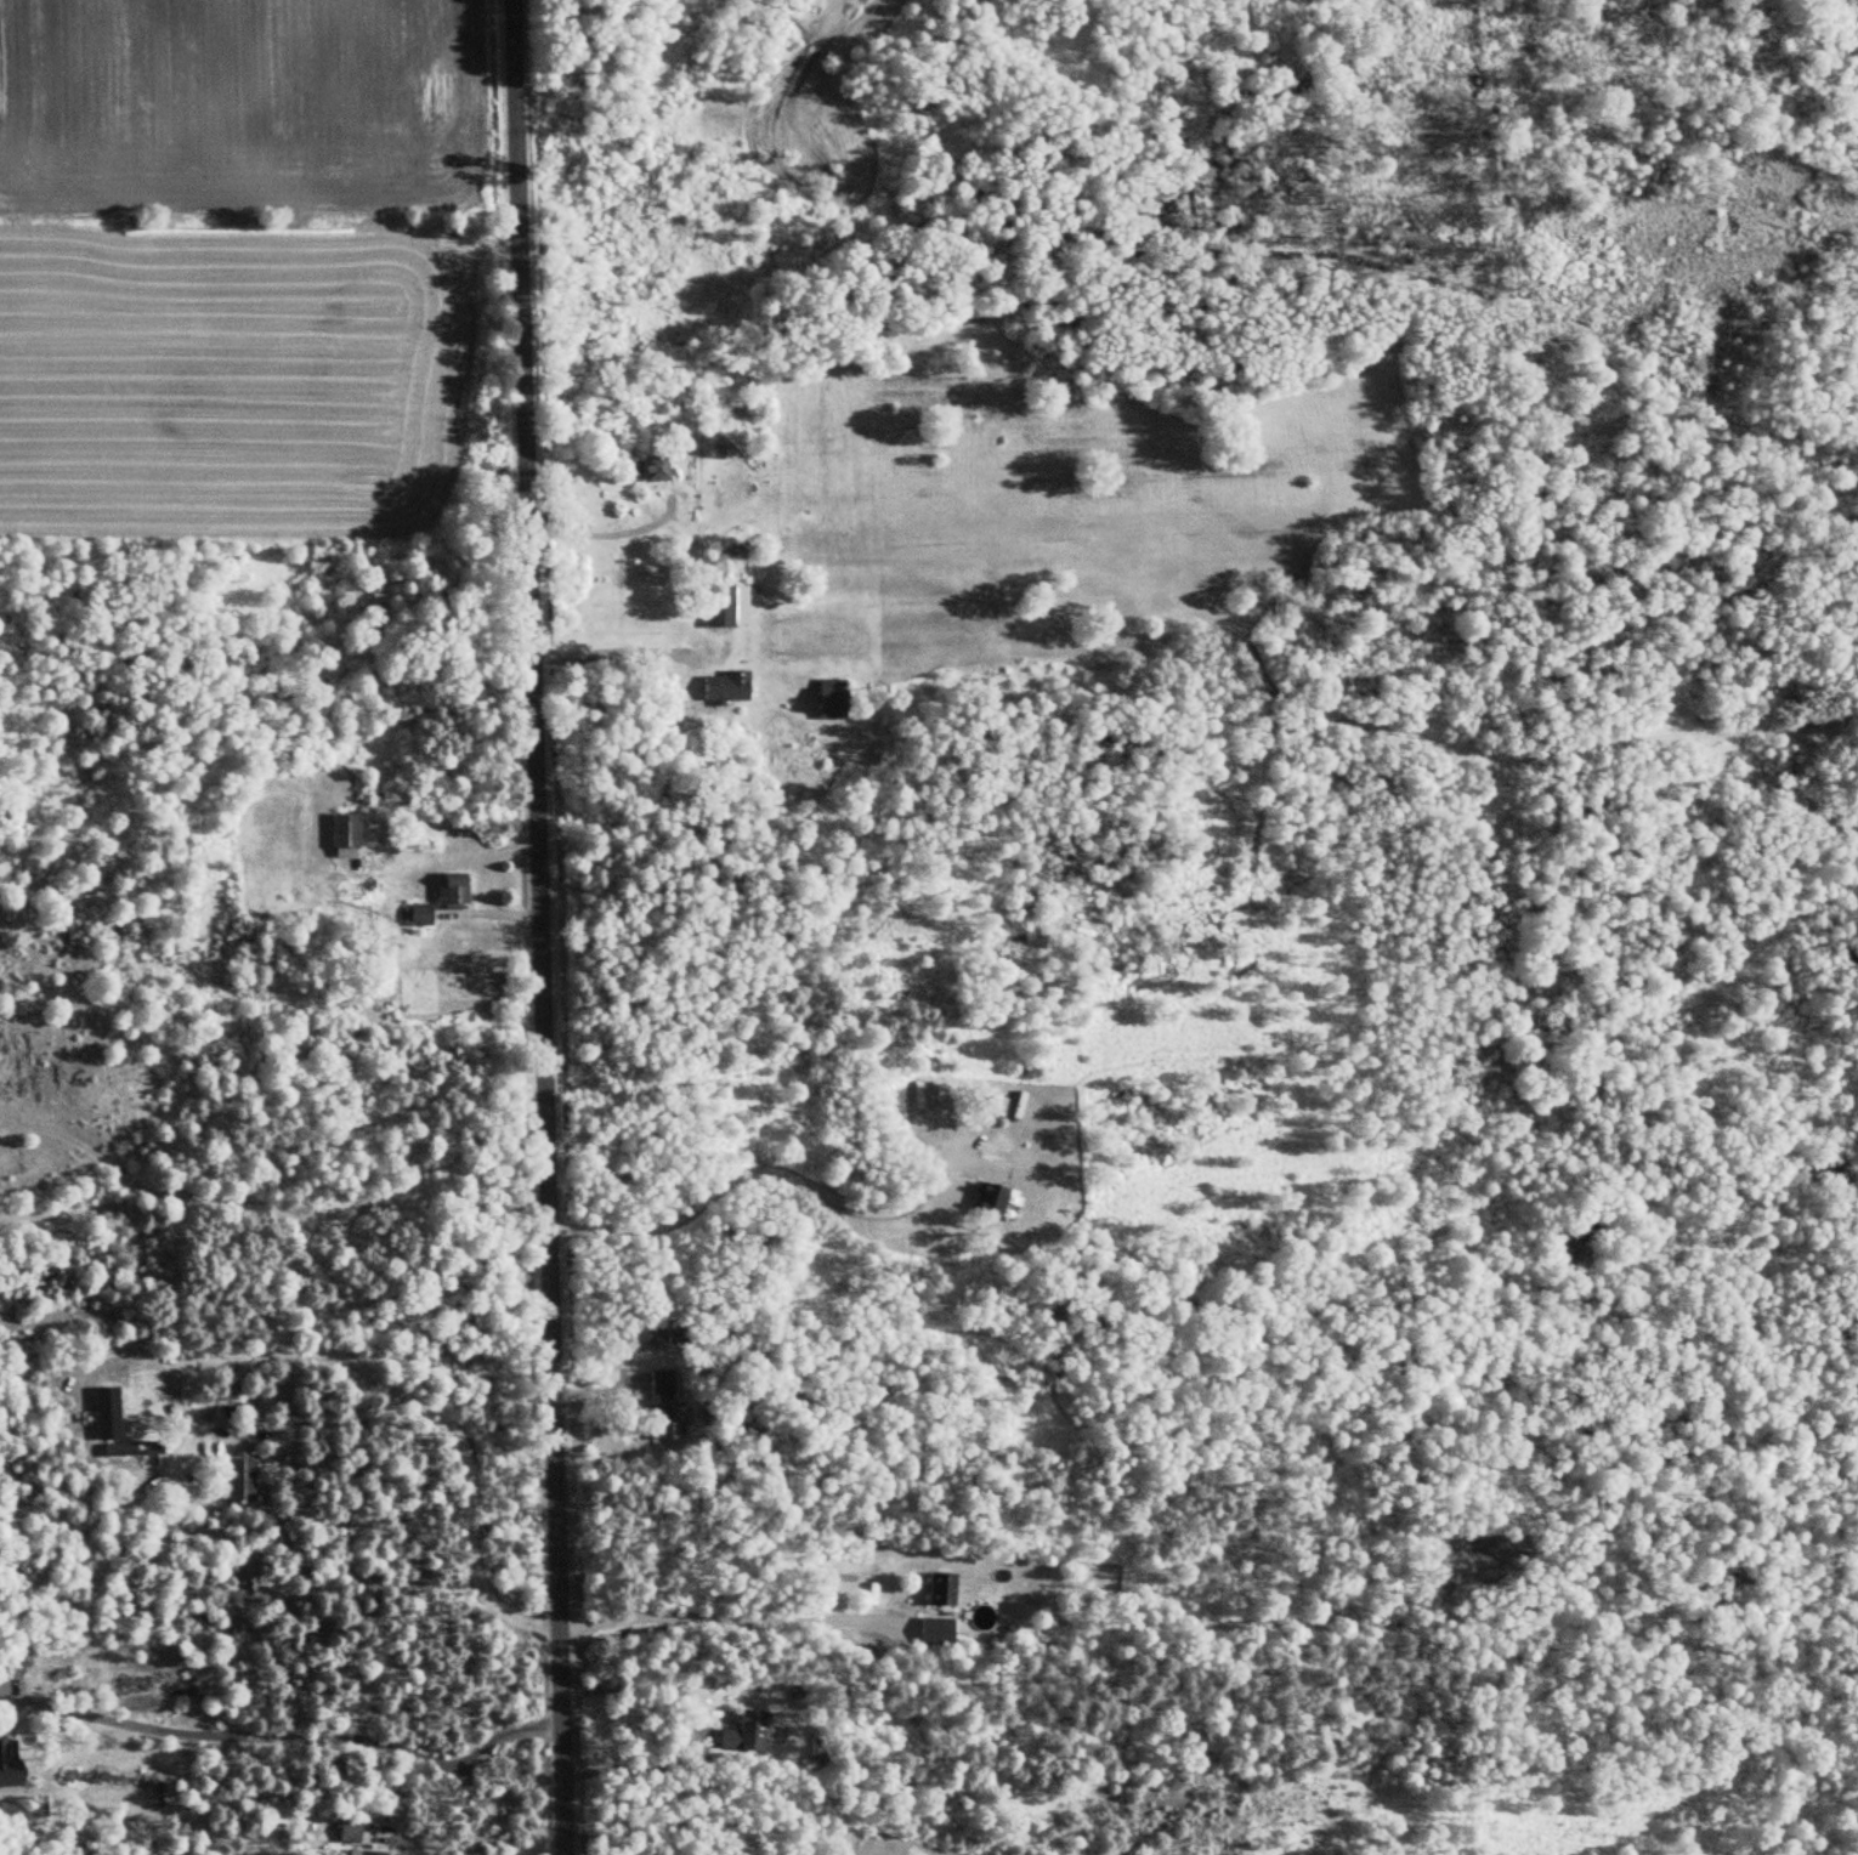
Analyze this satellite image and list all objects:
building: (652, 469)
building: (716, 606)
road: (614, 648)
building: (723, 687)
building: (827, 699)
building: (340, 835)
building: (448, 891)
building: (415, 914)
road: (536, 927)
building: (995, 1106)
road: (763, 1167)
building: (984, 1198)
road: (270, 1206)
road: (356, 1368)
building: (658, 1383)
building: (664, 1419)
building: (130, 1447)
building: (238, 1477)
building: (939, 1588)
road: (699, 1616)
building: (933, 1629)
building: (1, 1687)
road: (704, 1730)
building: (742, 1731)
road: (294, 1735)
building: (7, 1763)
building: (346, 1830)
building: (362, 1851)

